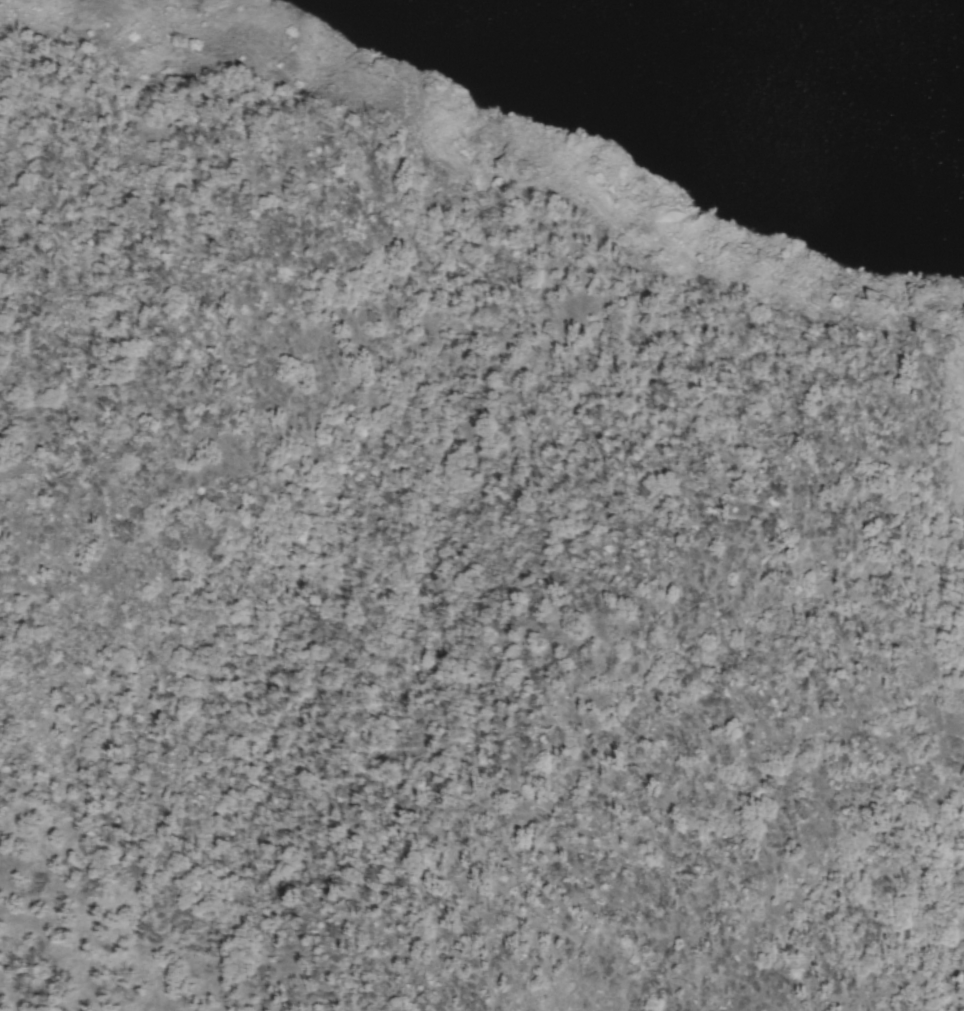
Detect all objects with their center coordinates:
river: (792, 85)

